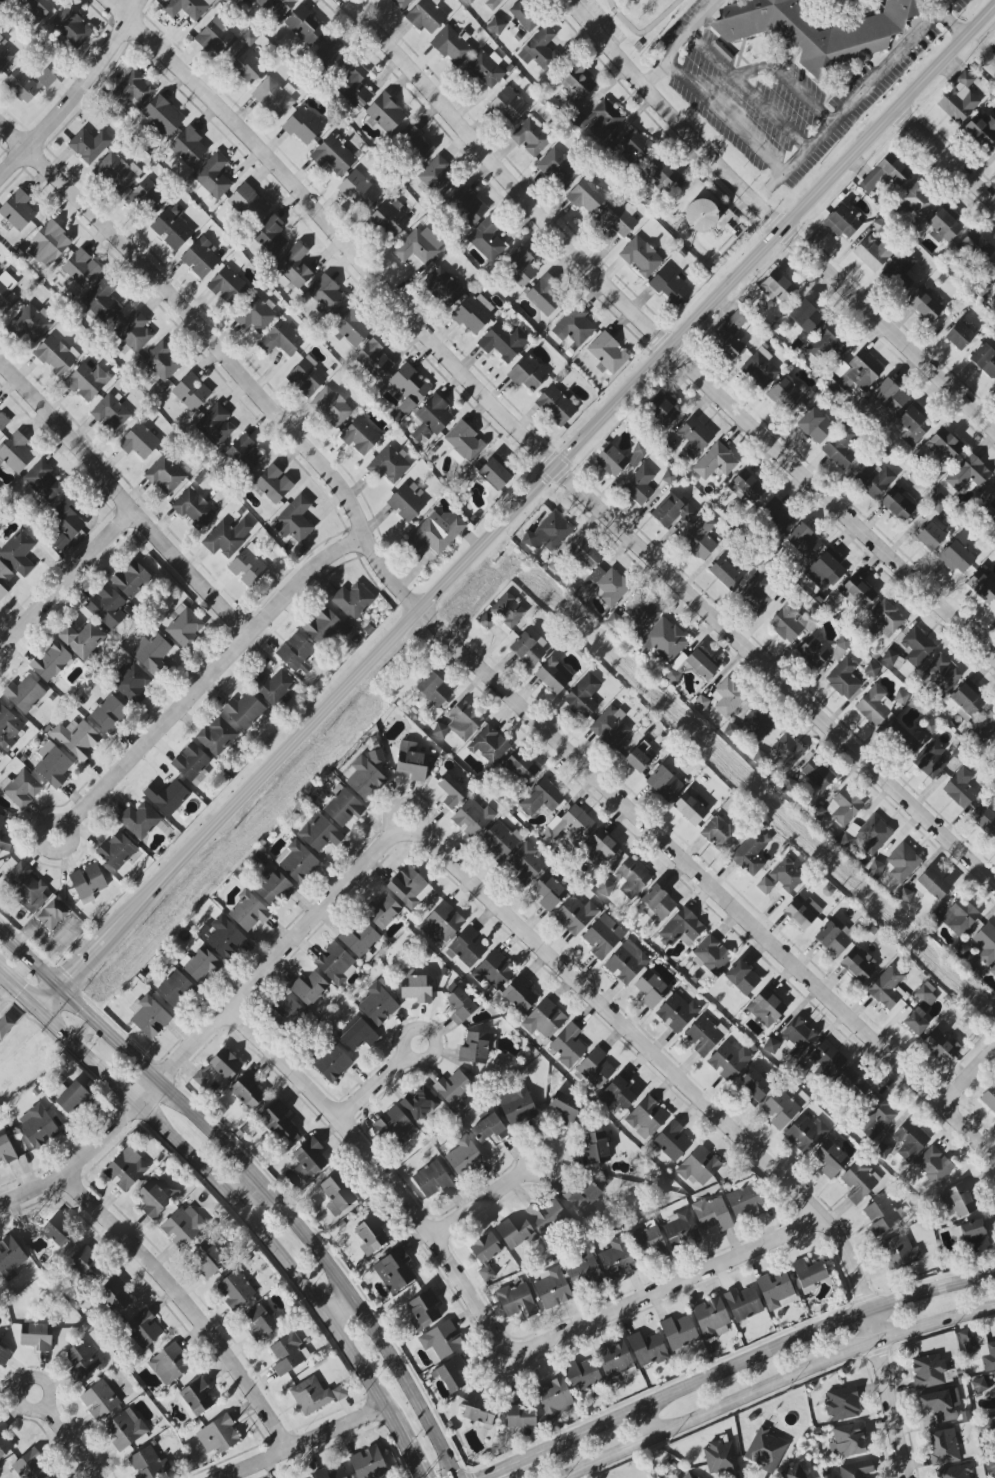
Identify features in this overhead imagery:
building: (238, 0)
building: (469, 1)
building: (401, 3)
building: (492, 4)
building: (37, 7)
building: (187, 7)
building: (276, 7)
building: (525, 15)
building: (426, 16)
park: (635, 20)
road: (951, 24)
building: (304, 25)
building: (496, 25)
building: (71, 27)
building: (814, 30)
road: (642, 33)
building: (217, 37)
road: (679, 42)
building: (452, 46)
building: (539, 50)
building: (4, 55)
building: (332, 56)
building: (246, 66)
building: (486, 69)
road: (787, 82)
building: (28, 84)
building: (576, 86)
building: (355, 88)
road: (748, 89)
road: (72, 91)
building: (132, 91)
building: (274, 97)
building: (959, 99)
road: (854, 100)
building: (508, 105)
building: (385, 114)
building: (162, 116)
road: (726, 119)
building: (600, 121)
building: (303, 126)
building: (982, 128)
building: (530, 138)
building: (89, 145)
building: (415, 145)
building: (188, 147)
building: (633, 147)
road: (946, 153)
building: (333, 155)
building: (558, 169)
building: (117, 172)
building: (885, 173)
building: (438, 177)
building: (212, 178)
building: (360, 190)
building: (586, 196)
building: (147, 197)
building: (917, 201)
building: (249, 204)
building: (467, 205)
building: (18, 210)
building: (701, 215)
building: (389, 219)
building: (616, 219)
road: (778, 220)
building: (843, 222)
building: (943, 225)
building: (172, 228)
building: (270, 237)
building: (487, 239)
building: (49, 244)
building: (419, 246)
building: (976, 247)
building: (873, 252)
building: (641, 257)
building: (201, 258)
building: (294, 266)
building: (519, 267)
building: (81, 268)
building: (900, 271)
building: (992, 271)
building: (227, 286)
building: (444, 286)
building: (670, 286)
building: (778, 288)
building: (544, 295)
building: (328, 297)
building: (6, 299)
building: (103, 300)
building: (925, 304)
building: (474, 313)
building: (254, 315)
building: (807, 317)
building: (30, 323)
building: (574, 326)
building: (351, 328)
building: (133, 333)
building: (730, 336)
building: (959, 336)
road: (659, 337)
building: (281, 339)
building: (503, 342)
building: (828, 344)
building: (608, 353)
building: (55, 355)
building: (374, 358)
building: (985, 358)
building: (162, 361)
building: (759, 368)
building: (854, 372)
building: (528, 373)
building: (306, 377)
building: (87, 381)
building: (994, 385)
building: (409, 388)
building: (191, 392)
building: (787, 393)
building: (890, 396)
building: (556, 406)
building: (331, 407)
building: (663, 409)
building: (111, 413)
building: (431, 419)
building: (3, 422)
building: (215, 425)
building: (815, 425)
building: (914, 426)
building: (361, 436)
building: (694, 437)
building: (139, 441)
building: (464, 443)
building: (944, 446)
building: (839, 449)
road: (540, 451)
building: (16, 454)
building: (244, 454)
building: (637, 455)
building: (611, 461)
building: (715, 462)
building: (388, 465)
building: (968, 473)
building: (493, 474)
building: (165, 475)
building: (874, 480)
building: (43, 482)
building: (273, 484)
building: (640, 485)
building: (747, 486)
road: (121, 500)
building: (407, 502)
building: (898, 503)
building: (992, 505)
road: (517, 507)
building: (193, 509)
building: (673, 513)
building: (776, 516)
building: (993, 519)
building: (294, 520)
building: (66, 522)
building: (548, 533)
building: (435, 535)
building: (930, 536)
building: (227, 537)
building: (700, 539)
building: (801, 543)
building: (19, 553)
building: (585, 553)
building: (957, 557)
building: (247, 568)
building: (826, 570)
building: (725, 574)
building: (4, 579)
building: (131, 579)
road: (66, 581)
building: (983, 584)
building: (603, 587)
building: (857, 592)
building: (758, 595)
building: (353, 600)
building: (108, 608)
building: (503, 612)
building: (642, 615)
building: (882, 620)
building: (788, 624)
building: (325, 626)
building: (184, 627)
building: (81, 639)
building: (662, 641)
building: (842, 644)
building: (916, 647)
building: (529, 648)
building: (813, 652)
building: (152, 654)
building: (297, 654)
building: (889, 657)
building: (50, 661)
road: (472, 662)
building: (700, 665)
building: (871, 670)
road: (209, 674)
building: (943, 674)
building: (554, 675)
building: (844, 679)
building: (132, 683)
building: (273, 688)
building: (432, 690)
building: (24, 694)
building: (584, 696)
building: (728, 697)
building: (900, 697)
building: (967, 700)
building: (701, 703)
building: (873, 706)
building: (244, 711)
building: (109, 713)
building: (460, 722)
building: (757, 723)
building: (610, 726)
building: (985, 727)
building: (8, 728)
building: (217, 736)
building: (76, 738)
building: (900, 738)
building: (489, 745)
building: (787, 750)
building: (376, 757)
building: (637, 760)
building: (930, 760)
building: (412, 762)
building: (192, 764)
building: (53, 765)
building: (519, 768)
building: (817, 774)
building: (365, 780)
building: (664, 783)
building: (21, 789)
building: (960, 789)
building: (452, 791)
building: (167, 797)
building: (541, 798)
road: (404, 805)
building: (343, 807)
building: (692, 807)
building: (844, 807)
building: (473, 818)
building: (139, 820)
building: (985, 820)
building: (1, 821)
road: (66, 827)
building: (570, 827)
building: (320, 834)
building: (718, 834)
building: (872, 835)
building: (500, 840)
building: (5, 842)
building: (601, 846)
building: (117, 851)
building: (751, 853)
building: (297, 862)
building: (903, 862)
building: (525, 864)
building: (786, 876)
building: (632, 877)
building: (88, 882)
building: (933, 884)
building: (765, 886)
building: (25, 887)
building: (409, 887)
building: (275, 888)
building: (549, 892)
building: (657, 903)
building: (802, 911)
building: (248, 912)
building: (383, 912)
building: (52, 915)
building: (575, 915)
building: (959, 917)
building: (442, 923)
building: (682, 928)
building: (603, 936)
building: (225, 938)
building: (832, 939)
building: (360, 940)
building: (986, 944)
building: (467, 948)
building: (711, 955)
building: (626, 962)
building: (201, 965)
building: (336, 965)
building: (857, 965)
building: (493, 970)
building: (993, 971)
building: (742, 978)
building: (887, 987)
building: (416, 988)
building: (309, 989)
building: (651, 989)
road: (19, 990)
building: (520, 994)
building: (378, 1004)
building: (460, 1006)
building: (766, 1008)
building: (920, 1009)
building: (677, 1013)
building: (149, 1016)
building: (544, 1019)
building: (6, 1027)
road: (210, 1027)
building: (704, 1035)
building: (359, 1036)
building: (797, 1036)
building: (568, 1045)
building: (941, 1047)
building: (474, 1049)
road: (406, 1052)
road: (66, 1055)
building: (827, 1059)
building: (729, 1060)
building: (331, 1062)
building: (225, 1064)
building: (596, 1068)
road: (970, 1079)
building: (198, 1080)
building: (852, 1083)
building: (754, 1085)
road: (373, 1087)
building: (247, 1090)
building: (454, 1090)
building: (618, 1092)
building: (73, 1098)
building: (989, 1098)
building: (419, 1104)
building: (517, 1105)
building: (565, 1107)
building: (780, 1109)
road: (716, 1116)
building: (646, 1118)
building: (875, 1118)
building: (278, 1121)
building: (38, 1127)
building: (396, 1128)
building: (489, 1129)
building: (805, 1134)
building: (910, 1140)
building: (672, 1141)
building: (595, 1149)
building: (882, 1150)
building: (6, 1151)
building: (464, 1157)
building: (309, 1159)
building: (831, 1159)
building: (699, 1166)
building: (932, 1166)
building: (126, 1169)
road: (381, 1171)
road: (538, 1176)
road: (260, 1179)
building: (432, 1180)
building: (859, 1181)
road: (248, 1192)
building: (337, 1194)
building: (585, 1196)
road: (229, 1197)
building: (958, 1200)
building: (745, 1201)
road: (479, 1203)
building: (712, 1214)
building: (546, 1215)
building: (881, 1216)
building: (183, 1226)
building: (680, 1229)
building: (57, 1231)
building: (517, 1233)
building: (371, 1234)
building: (974, 1236)
building: (32, 1240)
building: (648, 1240)
building: (900, 1252)
building: (486, 1254)
building: (10, 1258)
building: (617, 1259)
building: (208, 1260)
building: (86, 1264)
building: (585, 1269)
building: (394, 1271)
building: (808, 1274)
road: (668, 1287)
building: (552, 1288)
building: (776, 1289)
building: (235, 1290)
building: (115, 1295)
building: (516, 1299)
road: (187, 1302)
building: (743, 1304)
road: (338, 1310)
building: (424, 1310)
building: (711, 1319)
building: (260, 1324)
building: (142, 1330)
building: (679, 1332)
building: (36, 1337)
building: (440, 1341)
building: (647, 1348)
building: (979, 1349)
building: (288, 1354)
road: (759, 1355)
building: (4, 1356)
building: (81, 1360)
building: (615, 1362)
building: (168, 1366)
building: (928, 1370)
building: (583, 1375)
building: (452, 1376)
road: (21, 1383)
road: (776, 1384)
building: (979, 1385)
building: (314, 1395)
building: (555, 1398)
building: (195, 1399)
building: (99, 1400)
building: (842, 1404)
building: (940, 1404)
building: (479, 1409)
building: (519, 1417)
road: (646, 1423)
building: (125, 1429)
building: (218, 1435)
building: (4, 1440)
road: (72, 1441)
building: (847, 1441)
road: (305, 1443)
road: (404, 1446)
building: (943, 1447)
building: (766, 1450)
building: (720, 1457)
building: (368, 1463)
building: (146, 1464)
building: (990, 1465)
building: (31, 1466)
road: (506, 1467)
building: (857, 1470)
building: (792, 1472)
building: (955, 1472)
building: (329, 1474)
building: (688, 1476)
building: (674, 1477)

